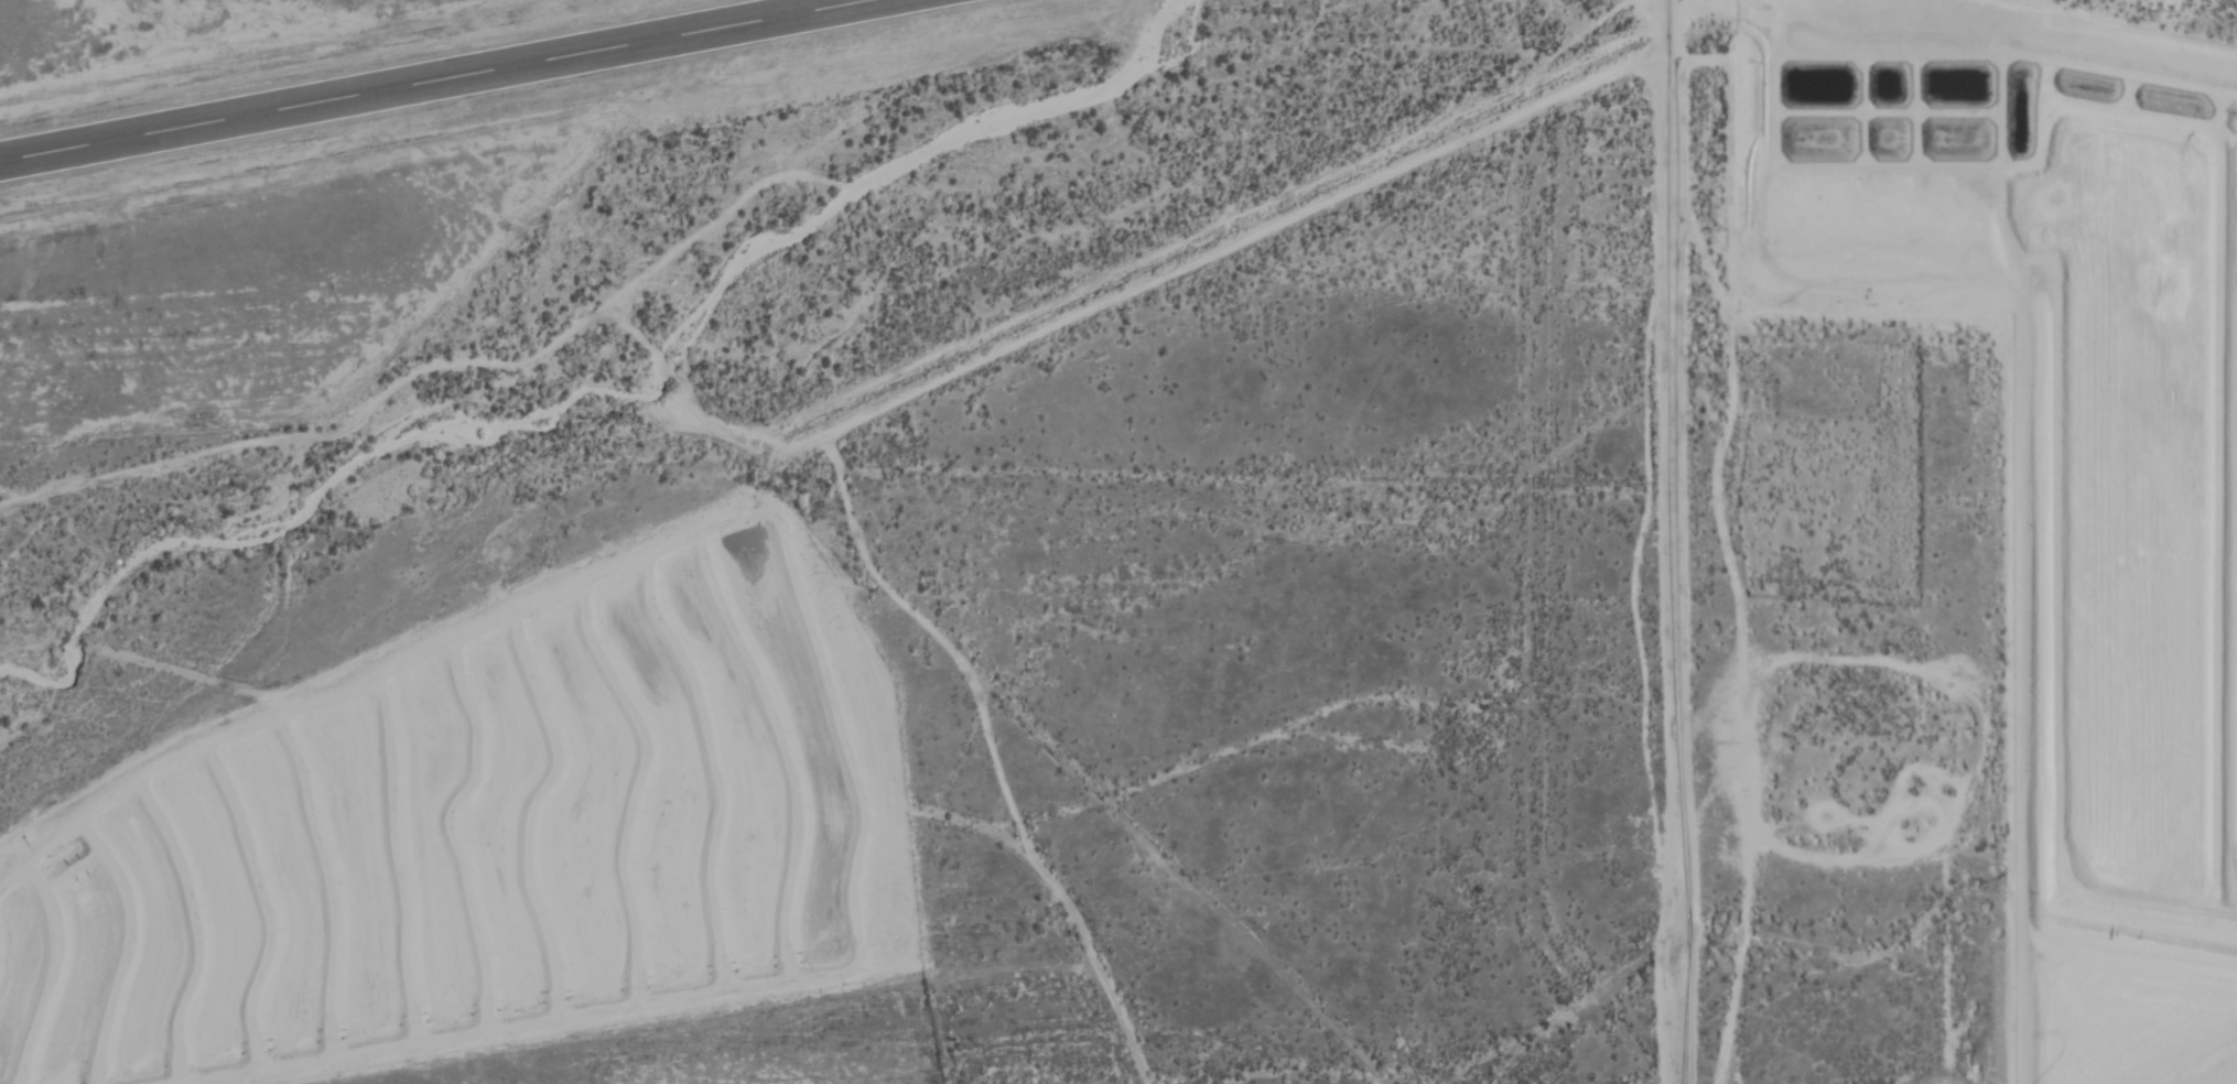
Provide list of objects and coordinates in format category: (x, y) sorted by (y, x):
airport runway: (429, 79)
airport: (342, 169)

